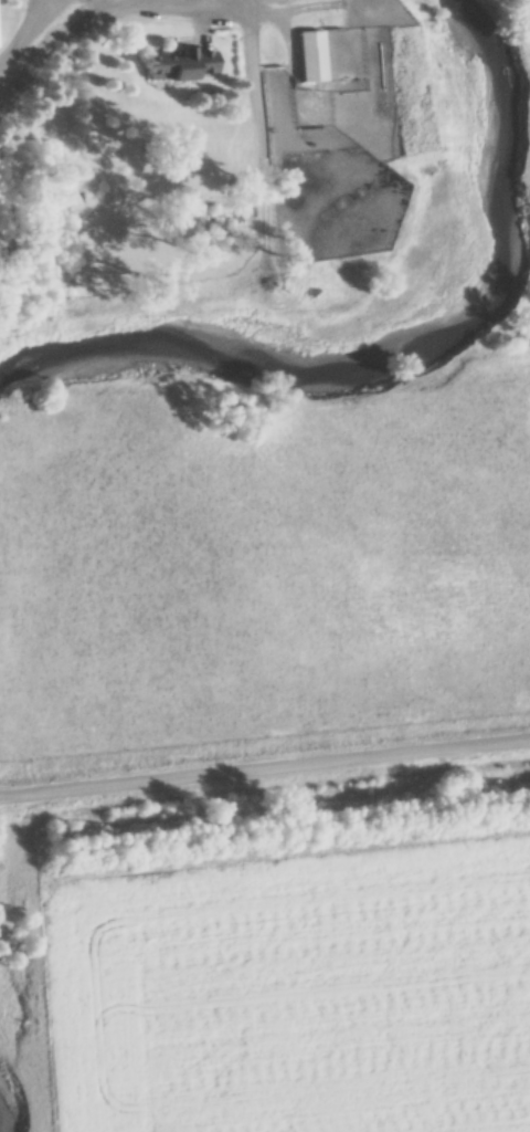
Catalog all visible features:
road: (178, 12)
road: (19, 27)
building: (311, 57)
building: (180, 66)
road: (264, 764)

